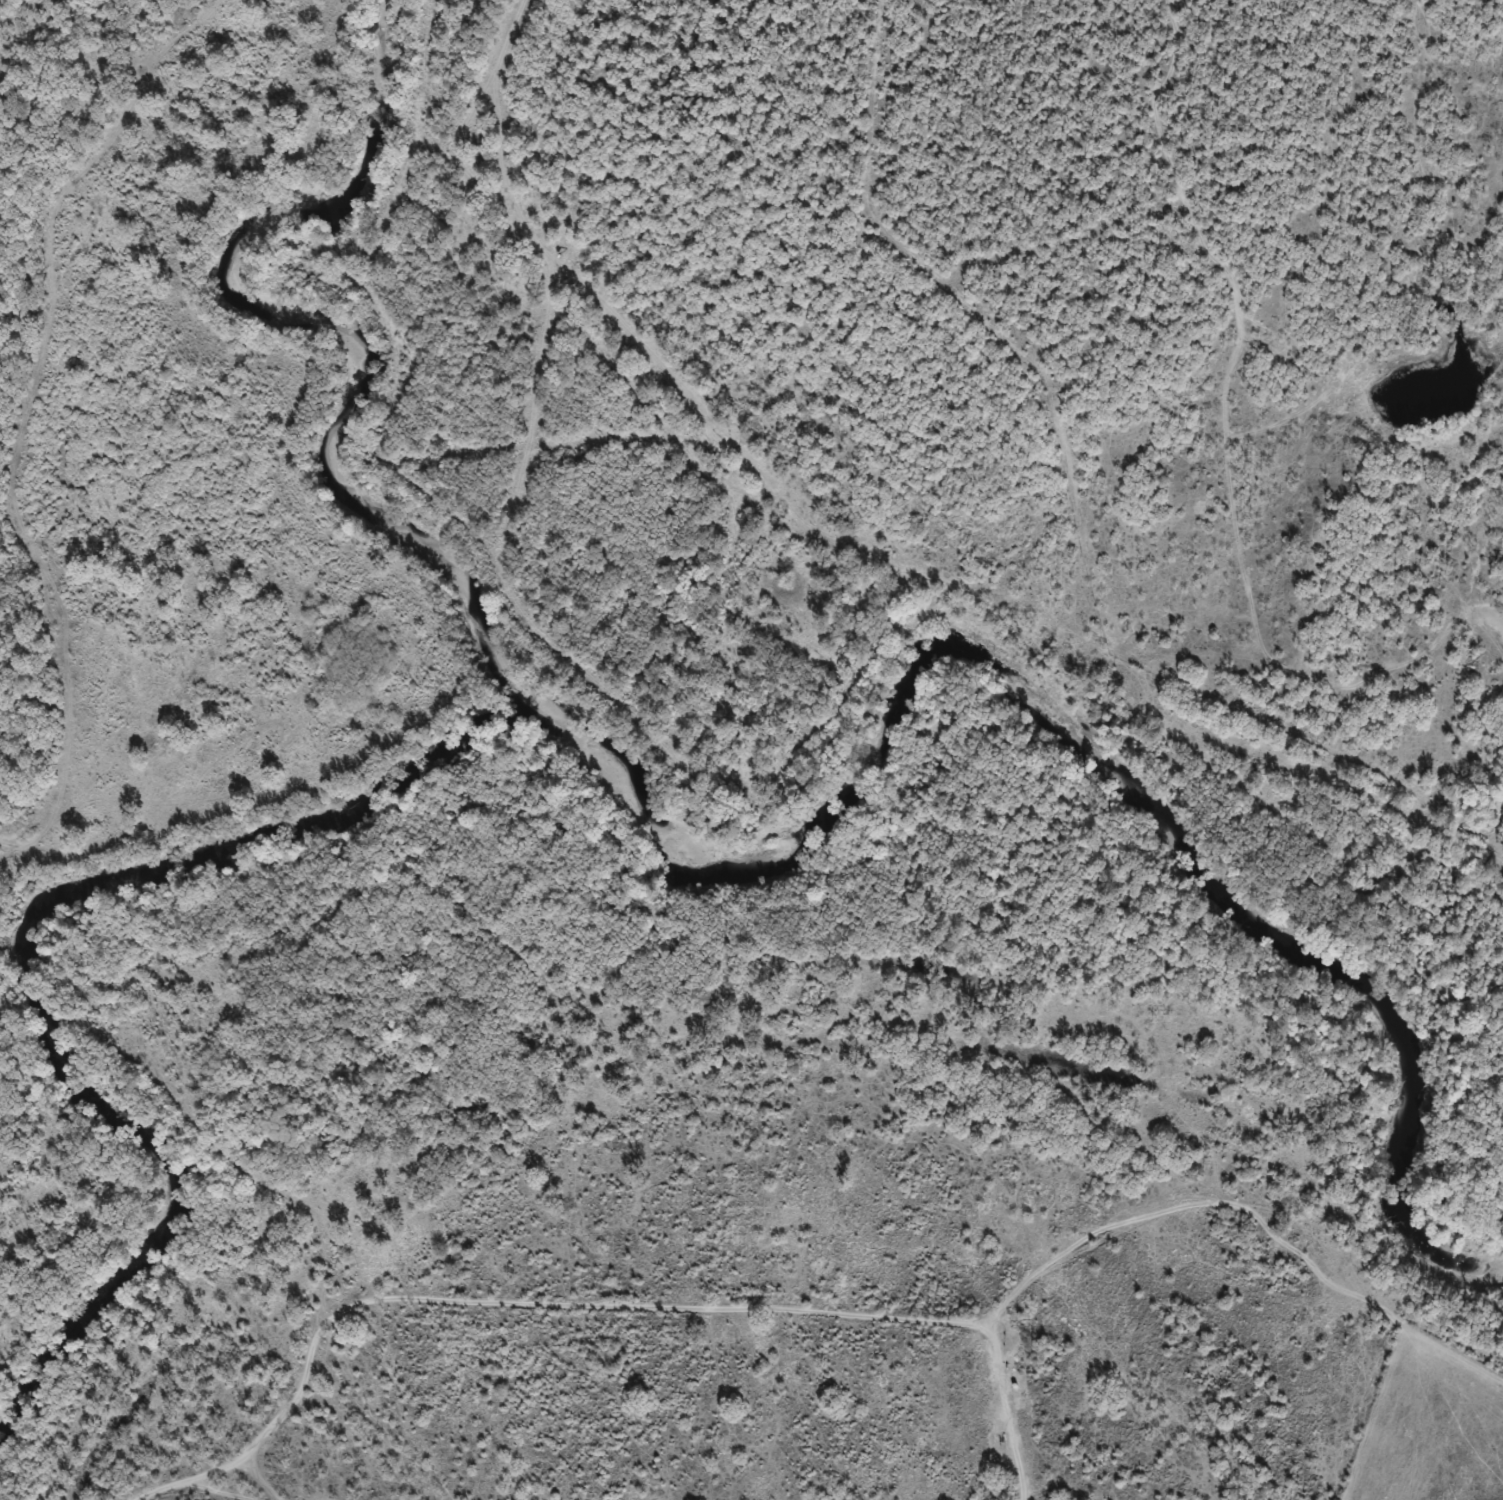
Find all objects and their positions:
road: (1475, 640)
river: (648, 811)
road: (898, 1302)
road: (245, 1498)

